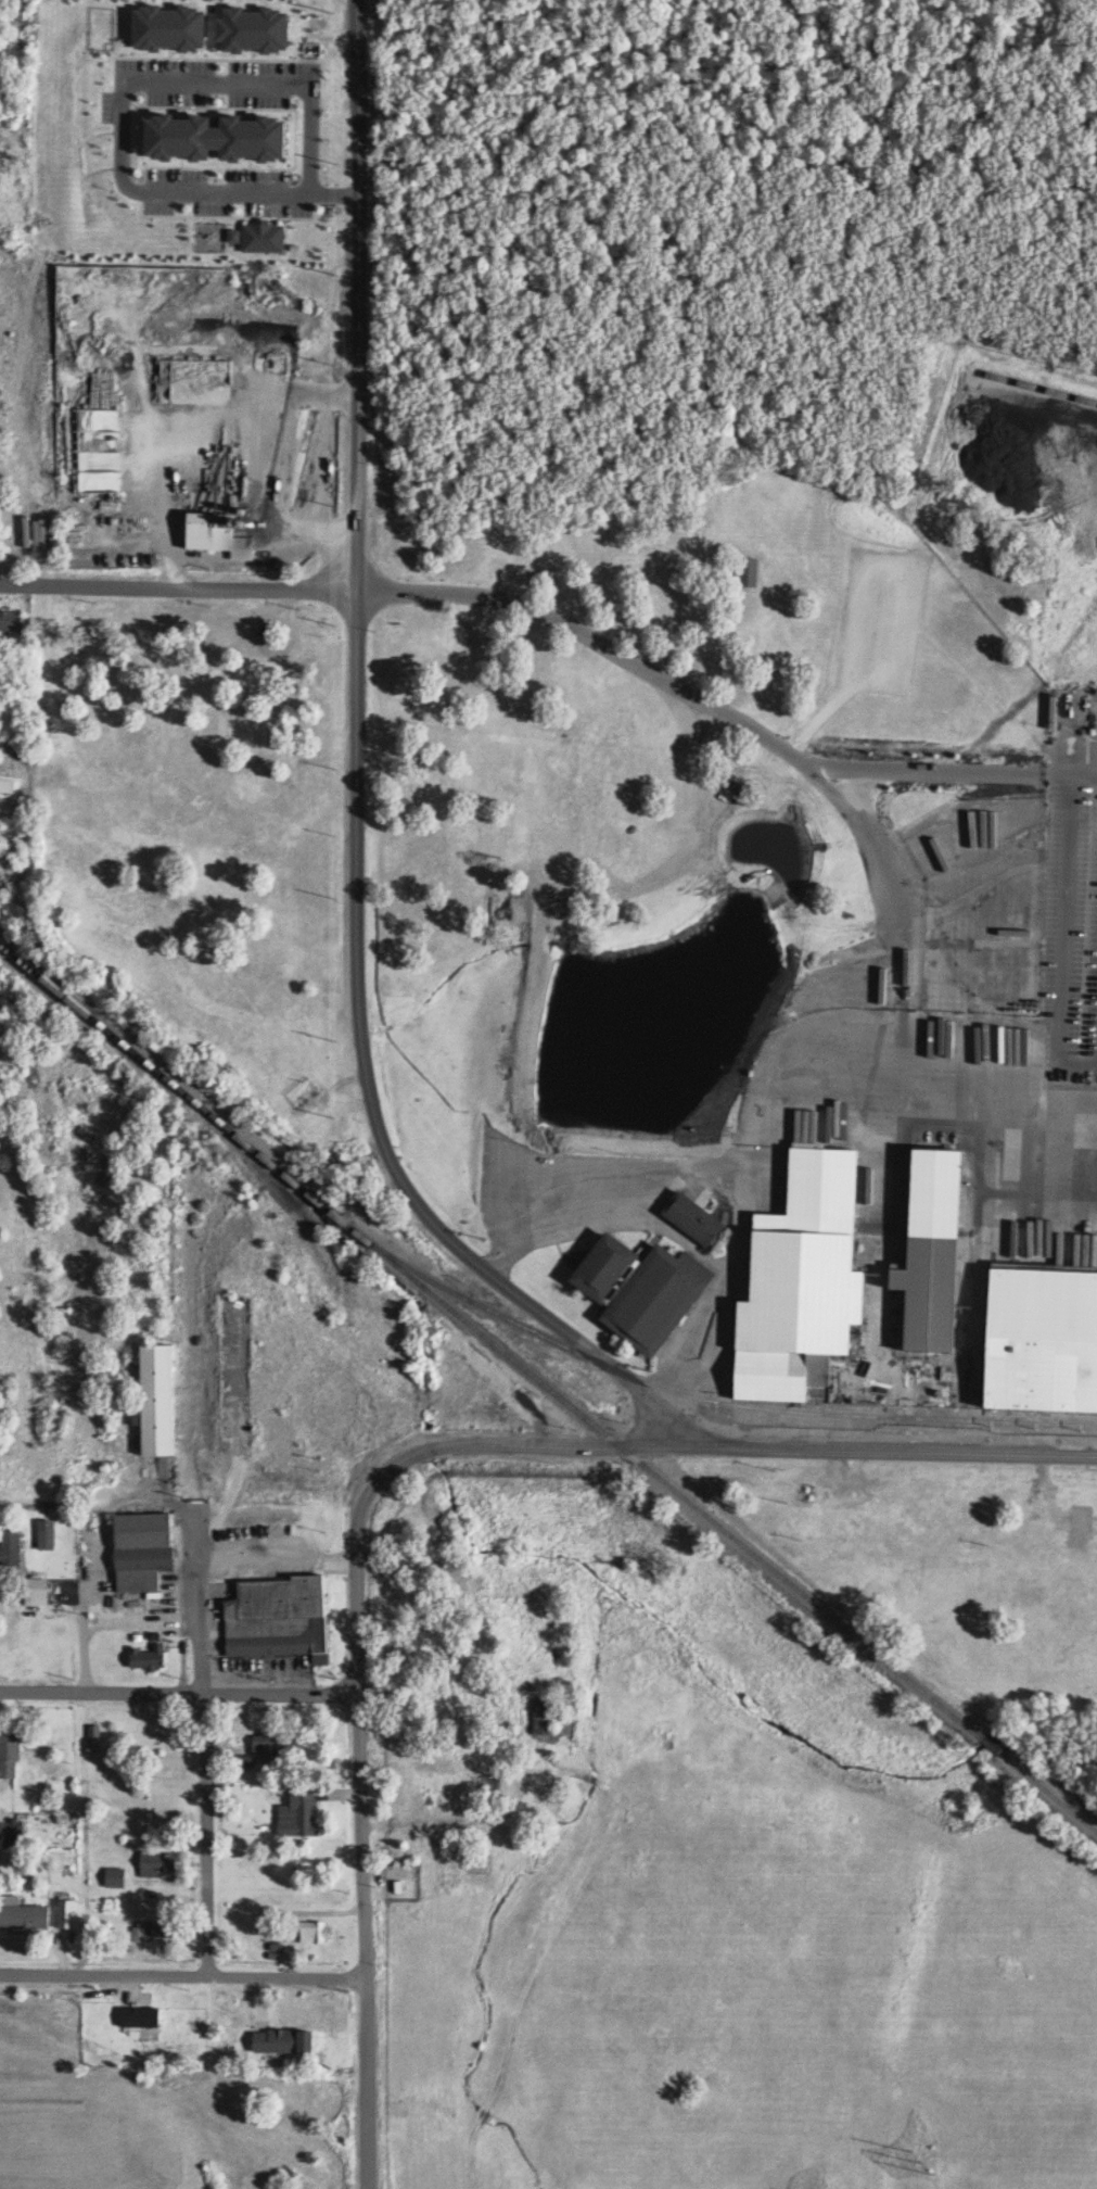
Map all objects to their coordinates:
building: (177, 26)
building: (258, 27)
road: (120, 99)
building: (226, 136)
building: (262, 236)
road: (356, 294)
railway: (1036, 387)
building: (221, 534)
road: (177, 589)
building: (12, 619)
road: (697, 706)
road: (1069, 780)
building: (9, 793)
road: (355, 849)
road: (892, 886)
road: (1059, 940)
road: (901, 1029)
building: (844, 1121)
railway: (273, 1188)
building: (872, 1189)
building: (690, 1218)
building: (922, 1245)
building: (794, 1279)
building: (635, 1288)
road: (523, 1301)
building: (948, 1319)
building: (1035, 1340)
railway: (549, 1387)
building: (163, 1397)
railway: (723, 1405)
building: (140, 1416)
road: (711, 1450)
building: (49, 1532)
building: (12, 1545)
building: (144, 1548)
building: (39, 1590)
road: (191, 1607)
building: (282, 1617)
road: (78, 1640)
building: (149, 1656)
road: (180, 1698)
building: (548, 1714)
building: (95, 1735)
building: (10, 1749)
building: (495, 1786)
building: (302, 1811)
building: (3, 1827)
building: (15, 1829)
road: (202, 1835)
road: (363, 1851)
building: (160, 1861)
building: (116, 1875)
building: (25, 1912)
building: (68, 1912)
building: (139, 1932)
road: (183, 1971)
building: (144, 2015)
building: (288, 2039)

